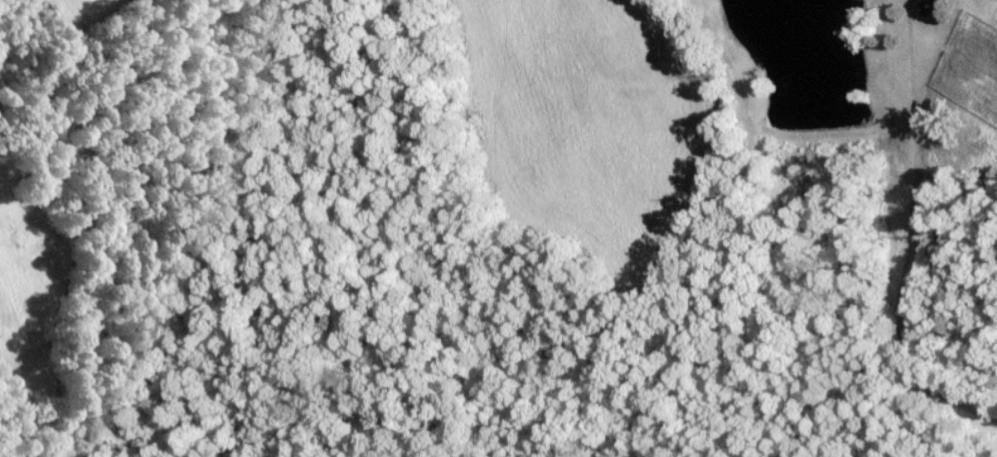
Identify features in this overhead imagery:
building: (925, 6)

